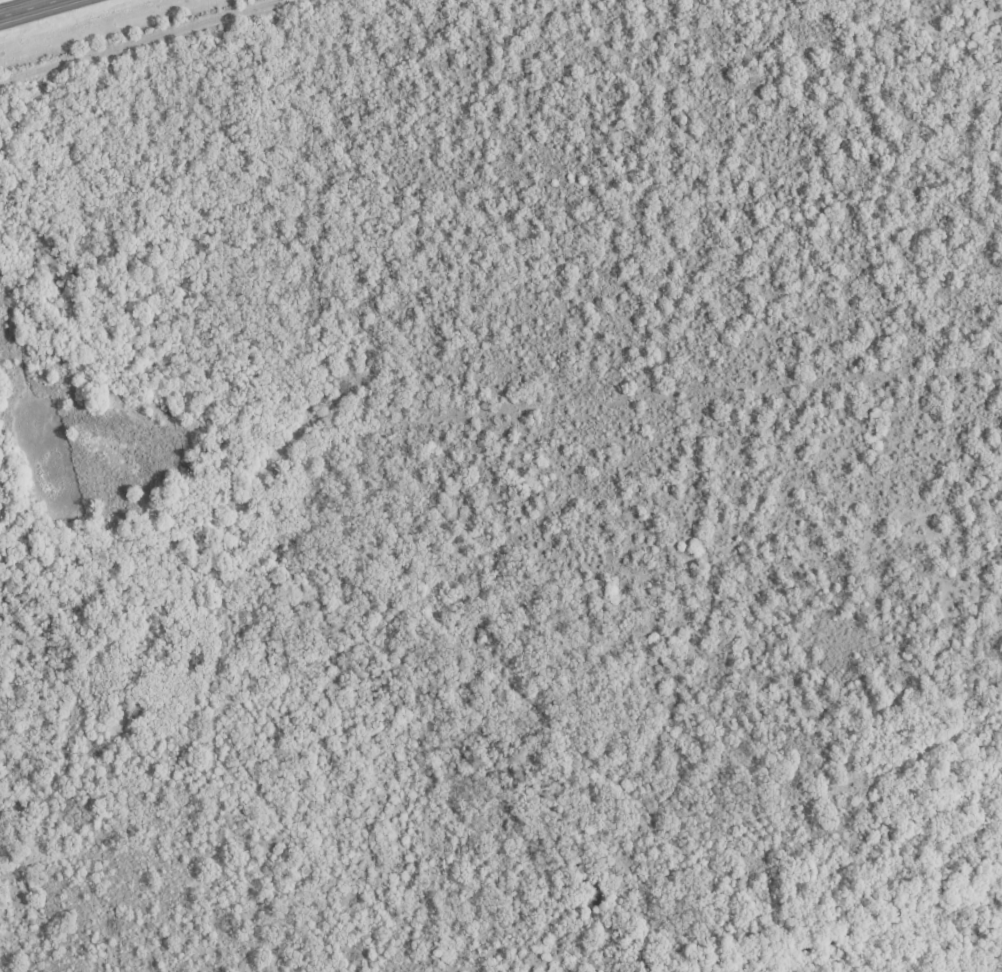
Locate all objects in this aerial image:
road: (32, 9)

